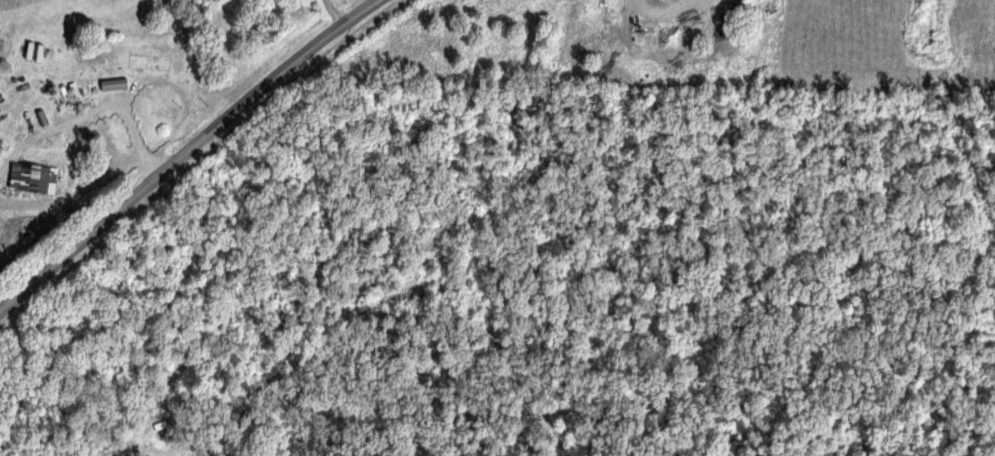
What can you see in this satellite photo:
building: (111, 85)
road: (185, 151)
building: (31, 177)

